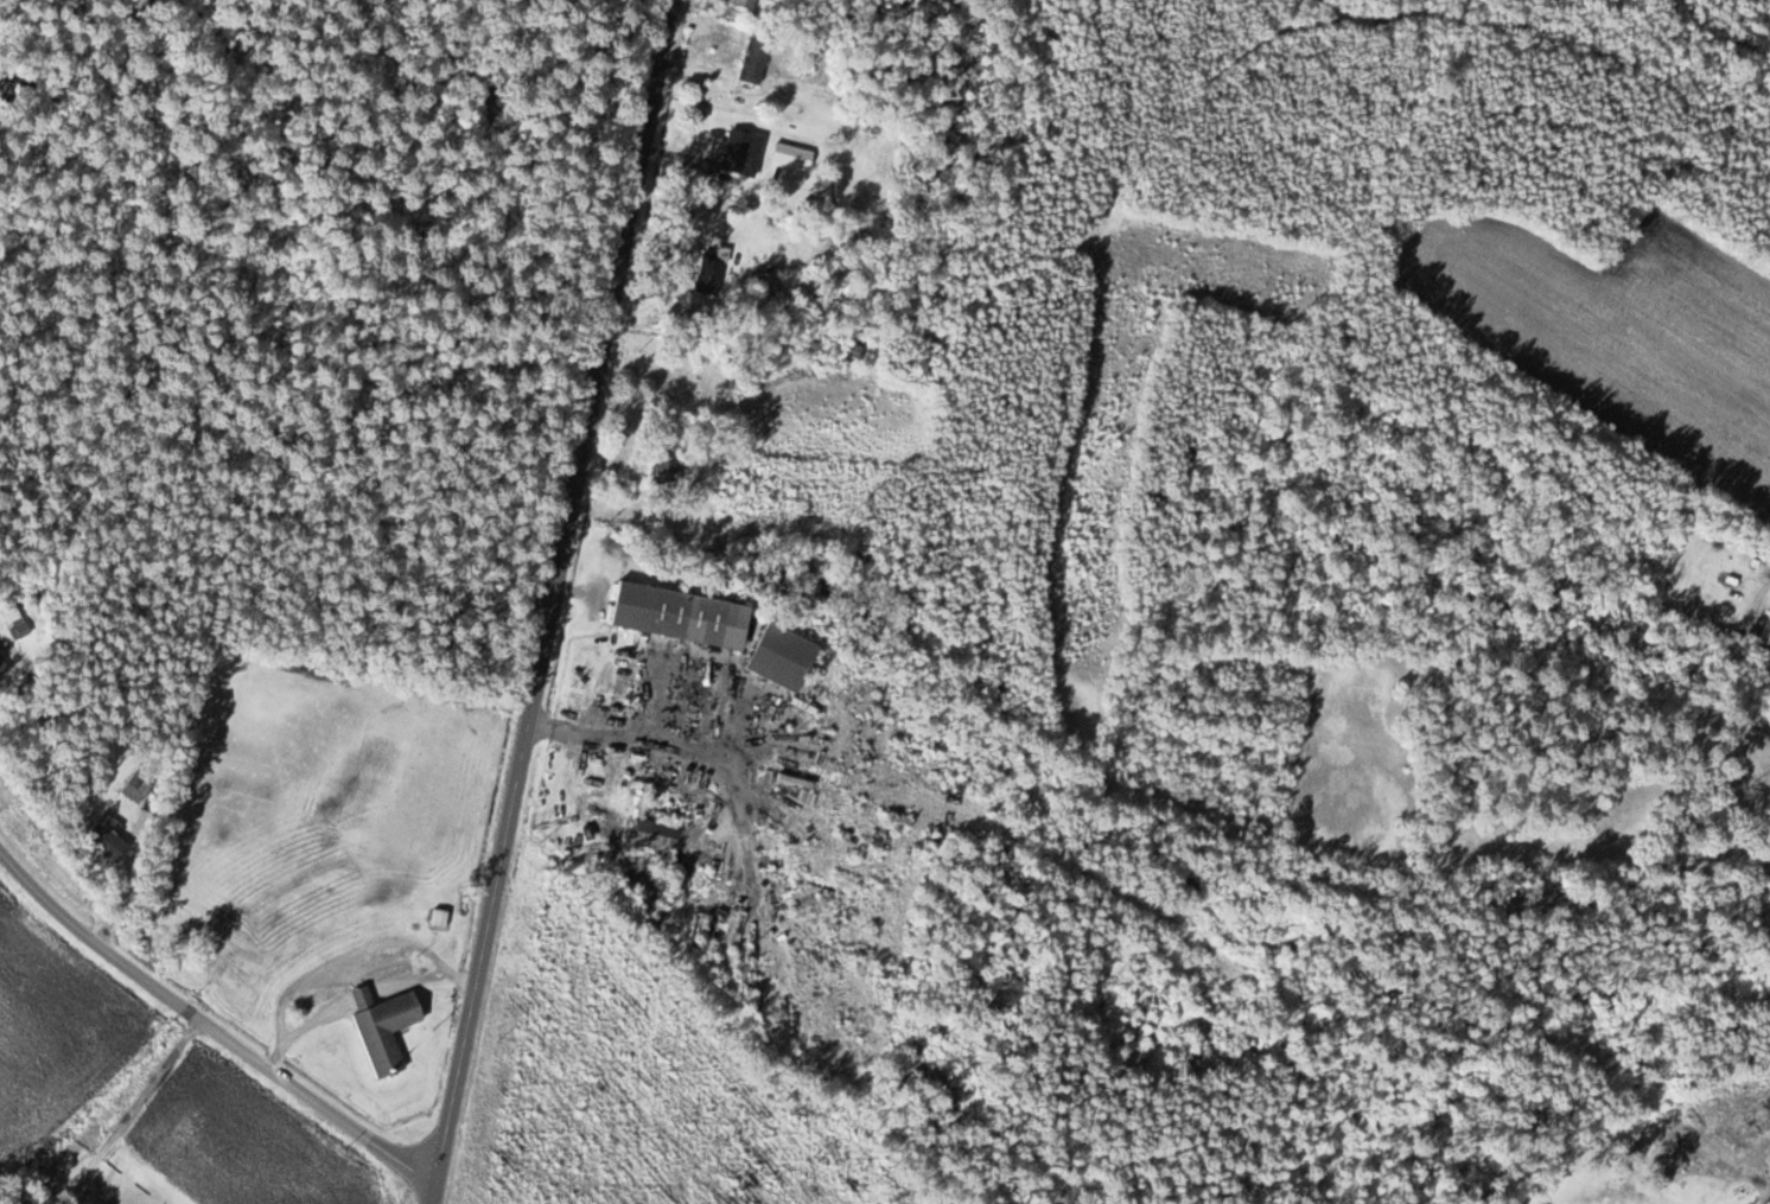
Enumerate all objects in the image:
building: (747, 6)
building: (756, 62)
building: (744, 153)
building: (794, 157)
building: (714, 270)
building: (768, 281)
building: (860, 350)
building: (668, 470)
road: (546, 601)
building: (683, 617)
building: (784, 658)
building: (626, 682)
building: (138, 788)
building: (658, 835)
building: (109, 839)
building: (442, 919)
road: (209, 1027)
building: (387, 1030)
building: (1755, 1126)
road: (233, 1140)
building: (1676, 1162)
road: (1768, 1202)

